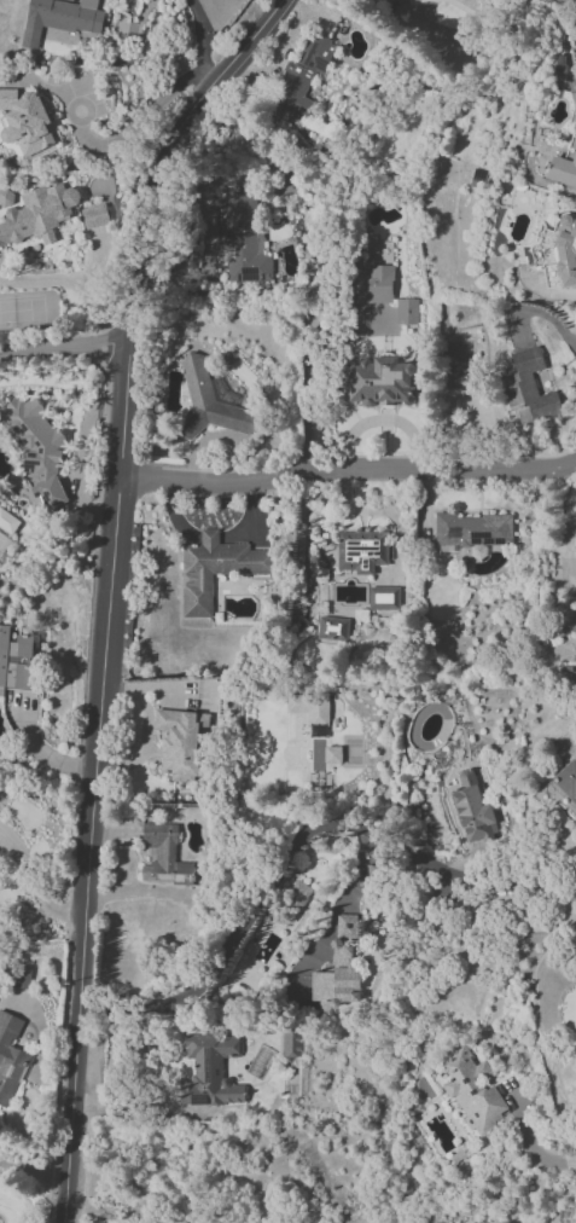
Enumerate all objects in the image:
building: (62, 17)
road: (202, 40)
building: (303, 74)
road: (356, 105)
building: (24, 121)
road: (138, 121)
building: (564, 166)
building: (37, 214)
building: (94, 215)
building: (245, 240)
building: (557, 251)
building: (374, 283)
building: (406, 311)
road: (539, 311)
road: (63, 347)
building: (379, 379)
building: (529, 388)
building: (209, 404)
building: (37, 450)
road: (345, 469)
building: (7, 521)
building: (472, 529)
road: (559, 545)
building: (360, 551)
building: (215, 568)
road: (107, 591)
building: (383, 597)
building: (333, 627)
building: (14, 659)
building: (309, 706)
building: (318, 730)
building: (180, 741)
building: (332, 754)
building: (566, 779)
building: (472, 808)
road: (328, 818)
building: (164, 854)
road: (33, 888)
building: (299, 894)
building: (339, 968)
building: (21, 978)
building: (291, 1044)
building: (10, 1056)
building: (210, 1071)
building: (473, 1090)
road: (535, 1146)
road: (33, 1173)

